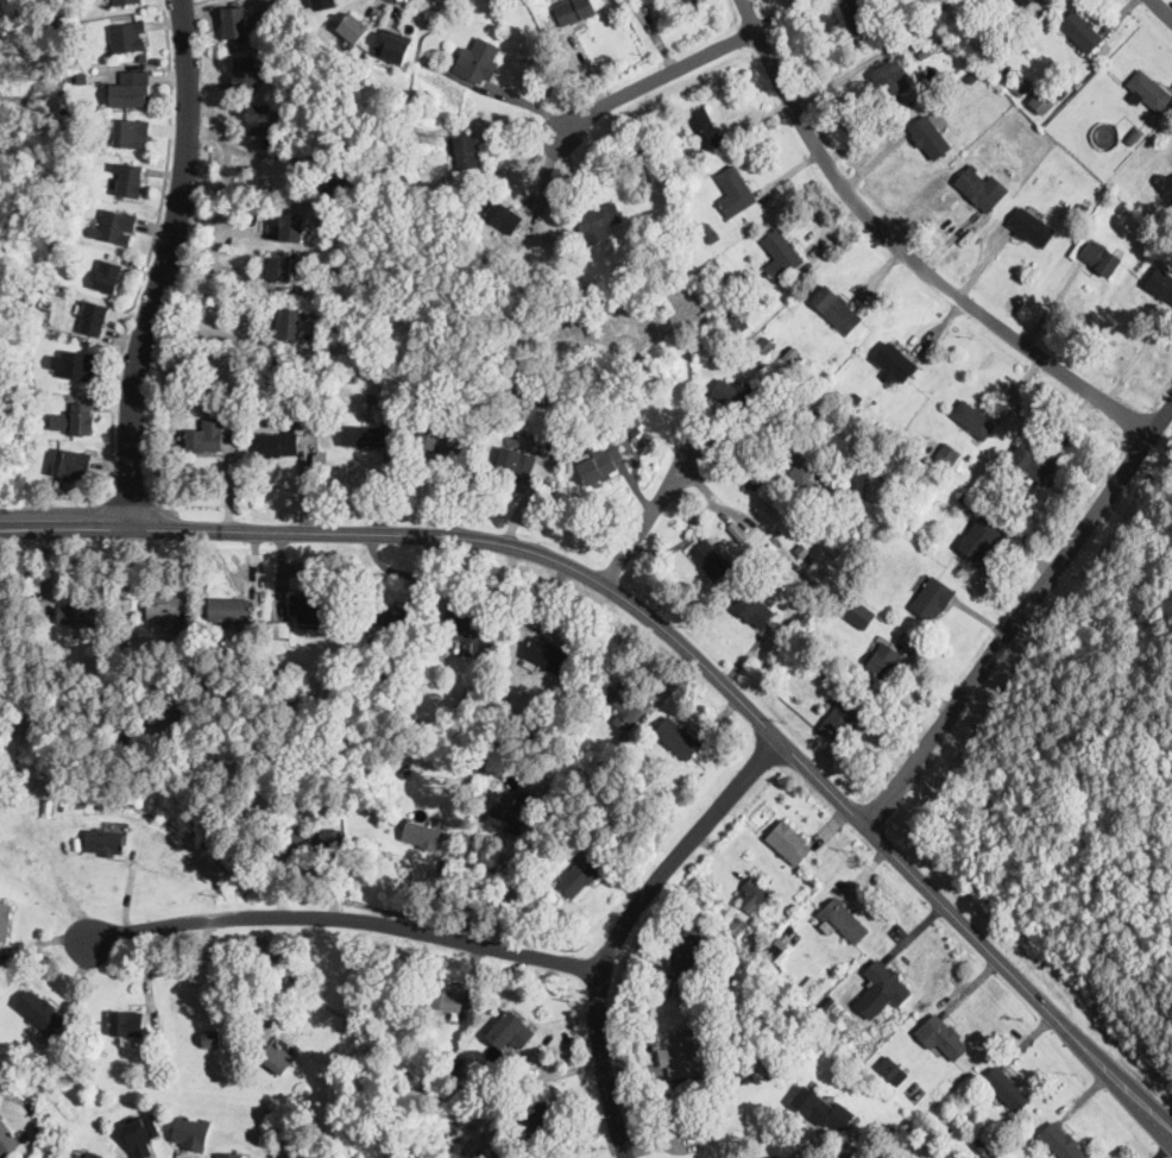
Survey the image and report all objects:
building: (273, 0)
building: (636, 0)
building: (125, 1)
building: (323, 4)
road: (1160, 10)
building: (573, 11)
building: (856, 19)
building: (234, 23)
building: (354, 29)
building: (1080, 31)
building: (1008, 33)
building: (926, 34)
building: (127, 37)
building: (900, 38)
building: (393, 46)
building: (926, 52)
building: (141, 55)
building: (478, 62)
building: (431, 63)
building: (245, 73)
building: (973, 76)
building: (891, 77)
road: (651, 78)
building: (136, 89)
building: (1022, 92)
building: (1147, 92)
building: (1044, 101)
building: (86, 103)
road: (215, 115)
building: (259, 119)
building: (704, 130)
road: (207, 132)
building: (131, 133)
building: (1136, 134)
building: (930, 138)
building: (399, 140)
building: (467, 152)
building: (642, 176)
building: (336, 180)
building: (131, 181)
building: (449, 185)
building: (981, 189)
building: (735, 193)
building: (431, 204)
building: (1082, 209)
building: (503, 218)
building: (599, 221)
building: (116, 227)
building: (292, 227)
building: (1032, 227)
building: (710, 233)
road: (216, 235)
building: (56, 240)
road: (152, 250)
road: (906, 253)
building: (1166, 253)
building: (781, 256)
building: (1101, 258)
road: (165, 265)
building: (281, 270)
building: (107, 276)
building: (528, 276)
building: (552, 279)
building: (698, 282)
building: (1160, 285)
building: (837, 310)
building: (727, 313)
building: (373, 315)
building: (94, 319)
building: (737, 322)
building: (290, 325)
building: (767, 344)
building: (238, 354)
building: (789, 354)
building: (221, 355)
building: (750, 359)
building: (799, 360)
building: (895, 364)
building: (78, 365)
building: (760, 366)
building: (354, 379)
building: (647, 386)
building: (733, 395)
building: (796, 396)
building: (859, 397)
building: (372, 398)
building: (813, 414)
building: (83, 418)
building: (972, 421)
building: (603, 427)
building: (635, 428)
building: (412, 430)
building: (849, 432)
building: (389, 434)
building: (206, 438)
building: (361, 438)
building: (825, 438)
building: (445, 439)
building: (281, 442)
building: (562, 442)
building: (628, 445)
building: (34, 446)
building: (947, 457)
building: (600, 461)
building: (73, 464)
building: (1029, 465)
building: (512, 470)
building: (808, 476)
building: (881, 493)
building: (966, 499)
building: (839, 514)
road: (647, 518)
building: (982, 536)
building: (869, 548)
building: (802, 552)
building: (711, 559)
building: (933, 599)
building: (164, 608)
building: (310, 608)
building: (831, 610)
building: (229, 611)
building: (755, 611)
building: (858, 613)
road: (1019, 615)
building: (80, 616)
building: (392, 617)
building: (282, 628)
building: (465, 633)
road: (678, 637)
building: (546, 655)
building: (883, 661)
building: (352, 662)
building: (284, 674)
building: (416, 675)
building: (402, 676)
building: (329, 694)
building: (286, 696)
building: (177, 697)
building: (470, 703)
building: (626, 704)
building: (842, 719)
building: (622, 740)
building: (678, 740)
building: (489, 760)
building: (407, 770)
building: (485, 791)
building: (17, 805)
building: (102, 805)
building: (45, 807)
building: (351, 807)
building: (509, 818)
building: (423, 837)
building: (334, 839)
building: (103, 843)
building: (788, 843)
building: (305, 844)
building: (579, 877)
building: (832, 888)
building: (760, 892)
road: (348, 918)
building: (5, 920)
building: (845, 921)
road: (622, 926)
building: (786, 932)
building: (754, 938)
building: (775, 949)
building: (686, 951)
building: (775, 969)
building: (729, 978)
road: (220, 983)
building: (887, 983)
building: (811, 986)
building: (443, 999)
building: (825, 1009)
building: (40, 1012)
building: (127, 1025)
building: (735, 1030)
building: (511, 1032)
building: (945, 1037)
building: (212, 1039)
building: (735, 1039)
building: (748, 1041)
building: (680, 1056)
building: (277, 1058)
building: (458, 1064)
building: (90, 1071)
building: (893, 1071)
building: (739, 1077)
building: (1007, 1089)
building: (821, 1108)
building: (685, 1116)
building: (540, 1119)
building: (956, 1120)
building: (901, 1121)
building: (191, 1133)
building: (141, 1135)
building: (681, 1138)
building: (7, 1140)
building: (1060, 1143)
building: (982, 1145)
building: (94, 1156)
building: (229, 1156)
building: (857, 1156)

